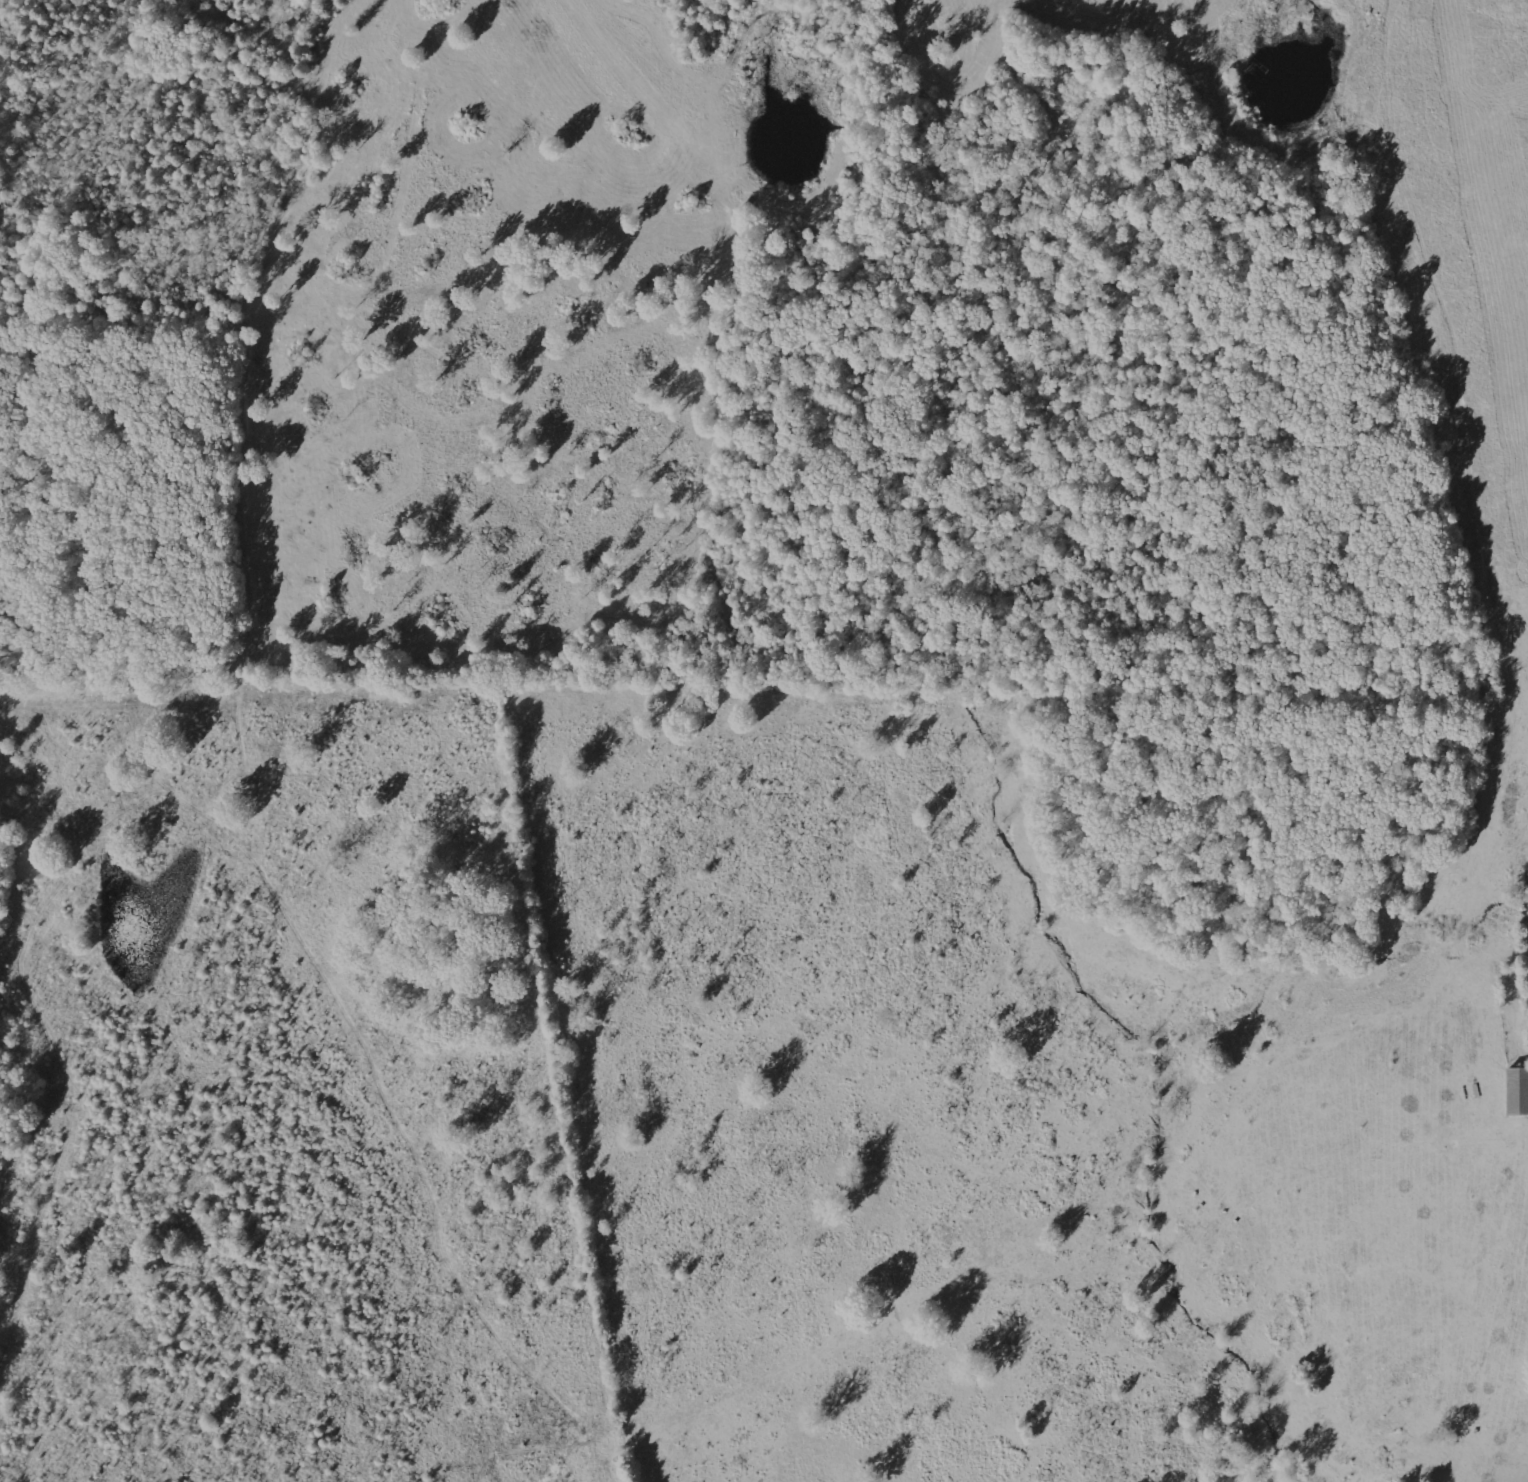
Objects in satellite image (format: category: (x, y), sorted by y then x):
building: (1517, 1091)

